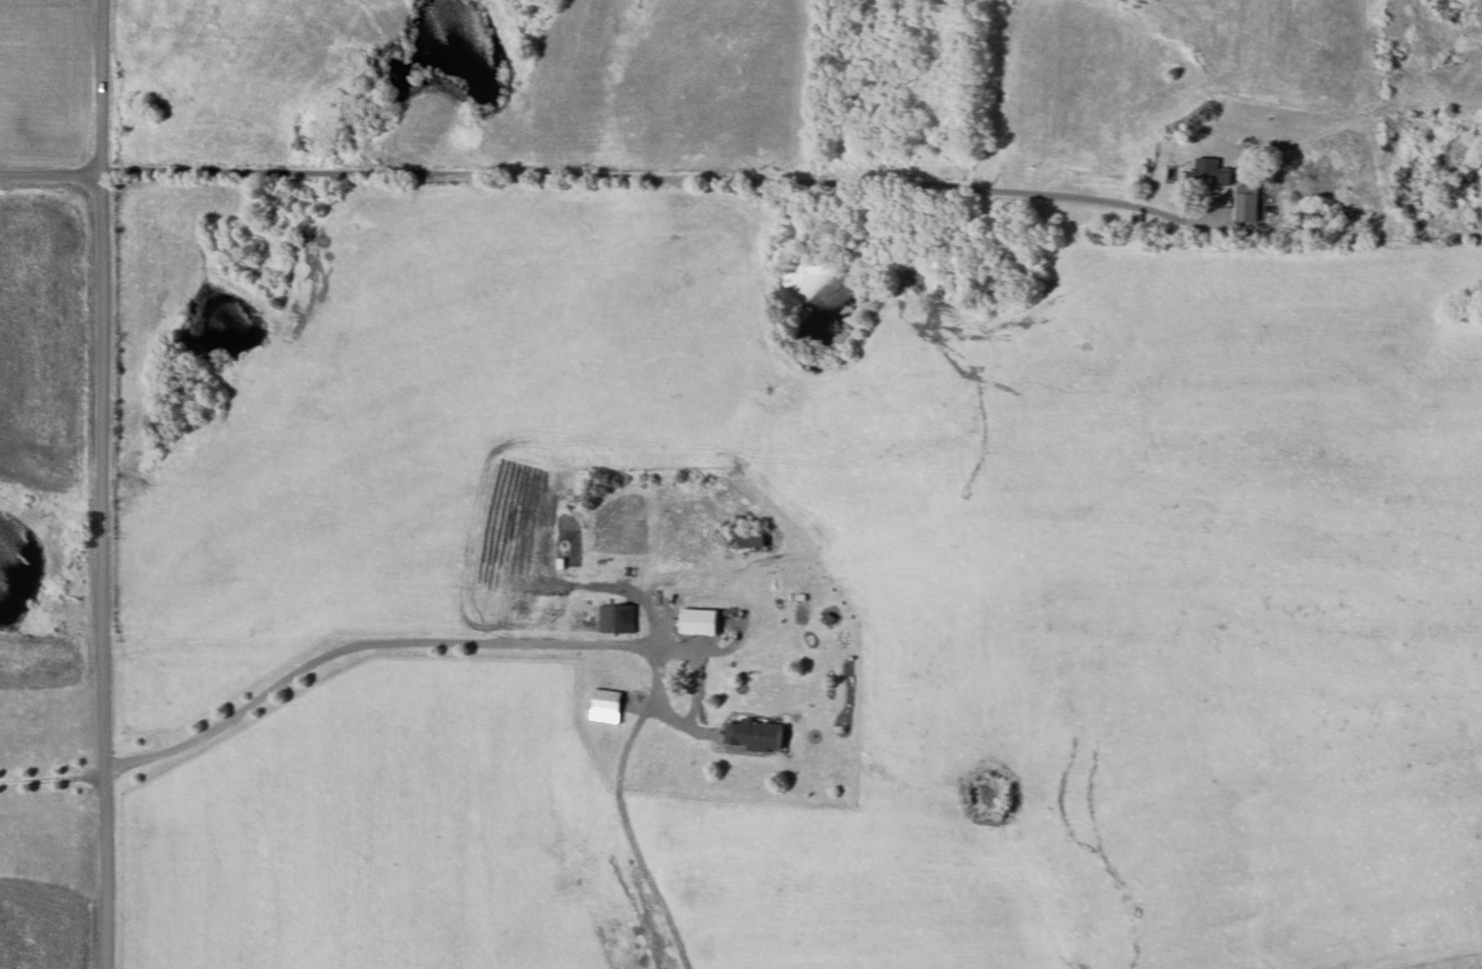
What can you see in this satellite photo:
road: (52, 173)
building: (1208, 173)
road: (676, 179)
road: (104, 484)
building: (751, 540)
building: (617, 618)
building: (697, 621)
road: (356, 643)
road: (656, 704)
building: (604, 705)
building: (753, 734)
road: (53, 777)

